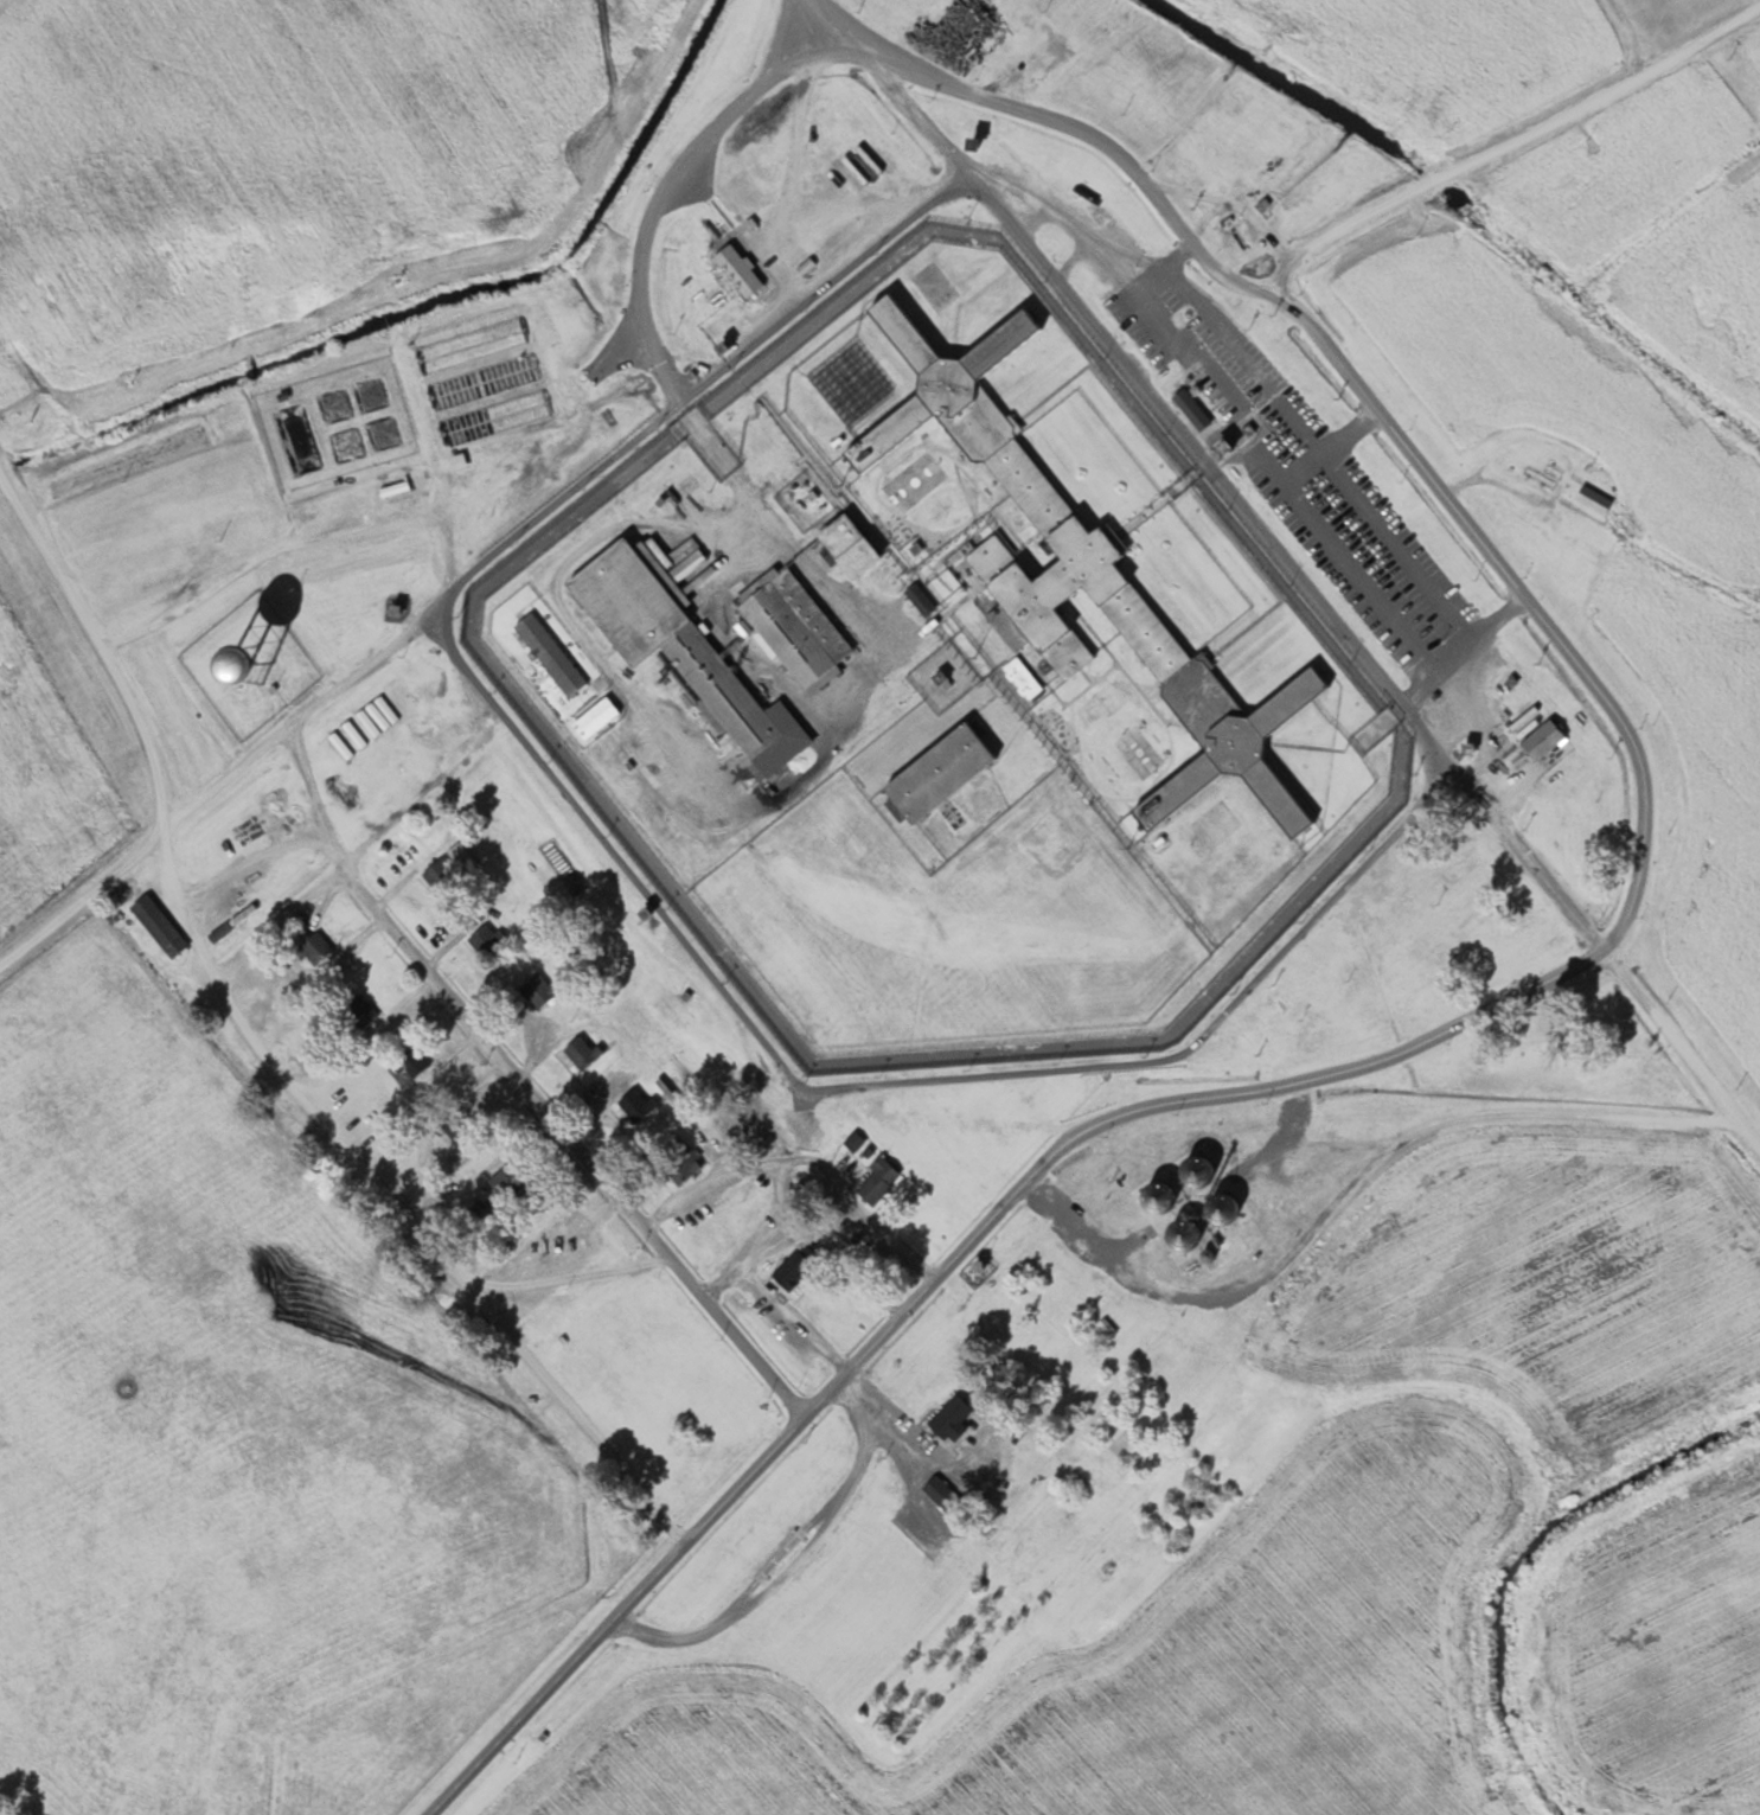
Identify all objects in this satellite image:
road: (1446, 196)
building: (737, 271)
building: (507, 337)
building: (1191, 409)
building: (1594, 499)
building: (1048, 543)
building: (845, 547)
road: (1287, 586)
road: (473, 597)
building: (919, 600)
building: (794, 631)
building: (679, 652)
building: (549, 654)
building: (1022, 679)
building: (595, 718)
building: (369, 723)
building: (1542, 741)
building: (340, 746)
building: (934, 774)
building: (441, 875)
building: (158, 927)
building: (484, 941)
building: (312, 947)
building: (408, 1067)
building: (147, 1098)
building: (635, 1105)
building: (456, 1130)
road: (582, 1140)
building: (852, 1143)
road: (809, 1158)
building: (879, 1178)
building: (503, 1184)
road: (770, 1238)
road: (843, 1263)
building: (794, 1268)
road: (933, 1277)
road: (796, 1317)
building: (949, 1420)
building: (936, 1491)

